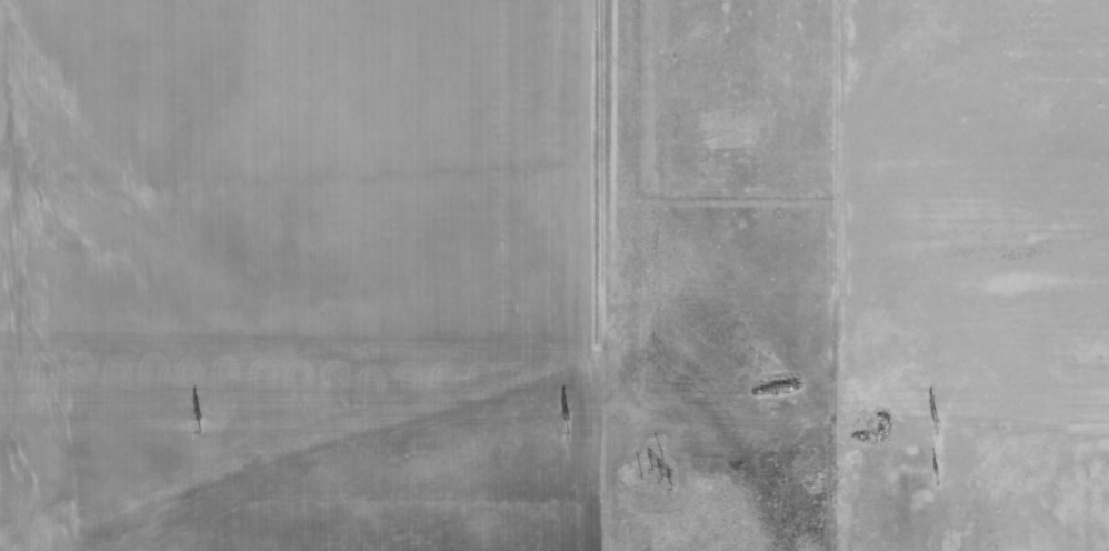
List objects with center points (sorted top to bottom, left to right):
power tower: (570, 424)
power tower: (202, 425)
power tower: (938, 425)
power tower: (665, 475)
power tower: (940, 477)

